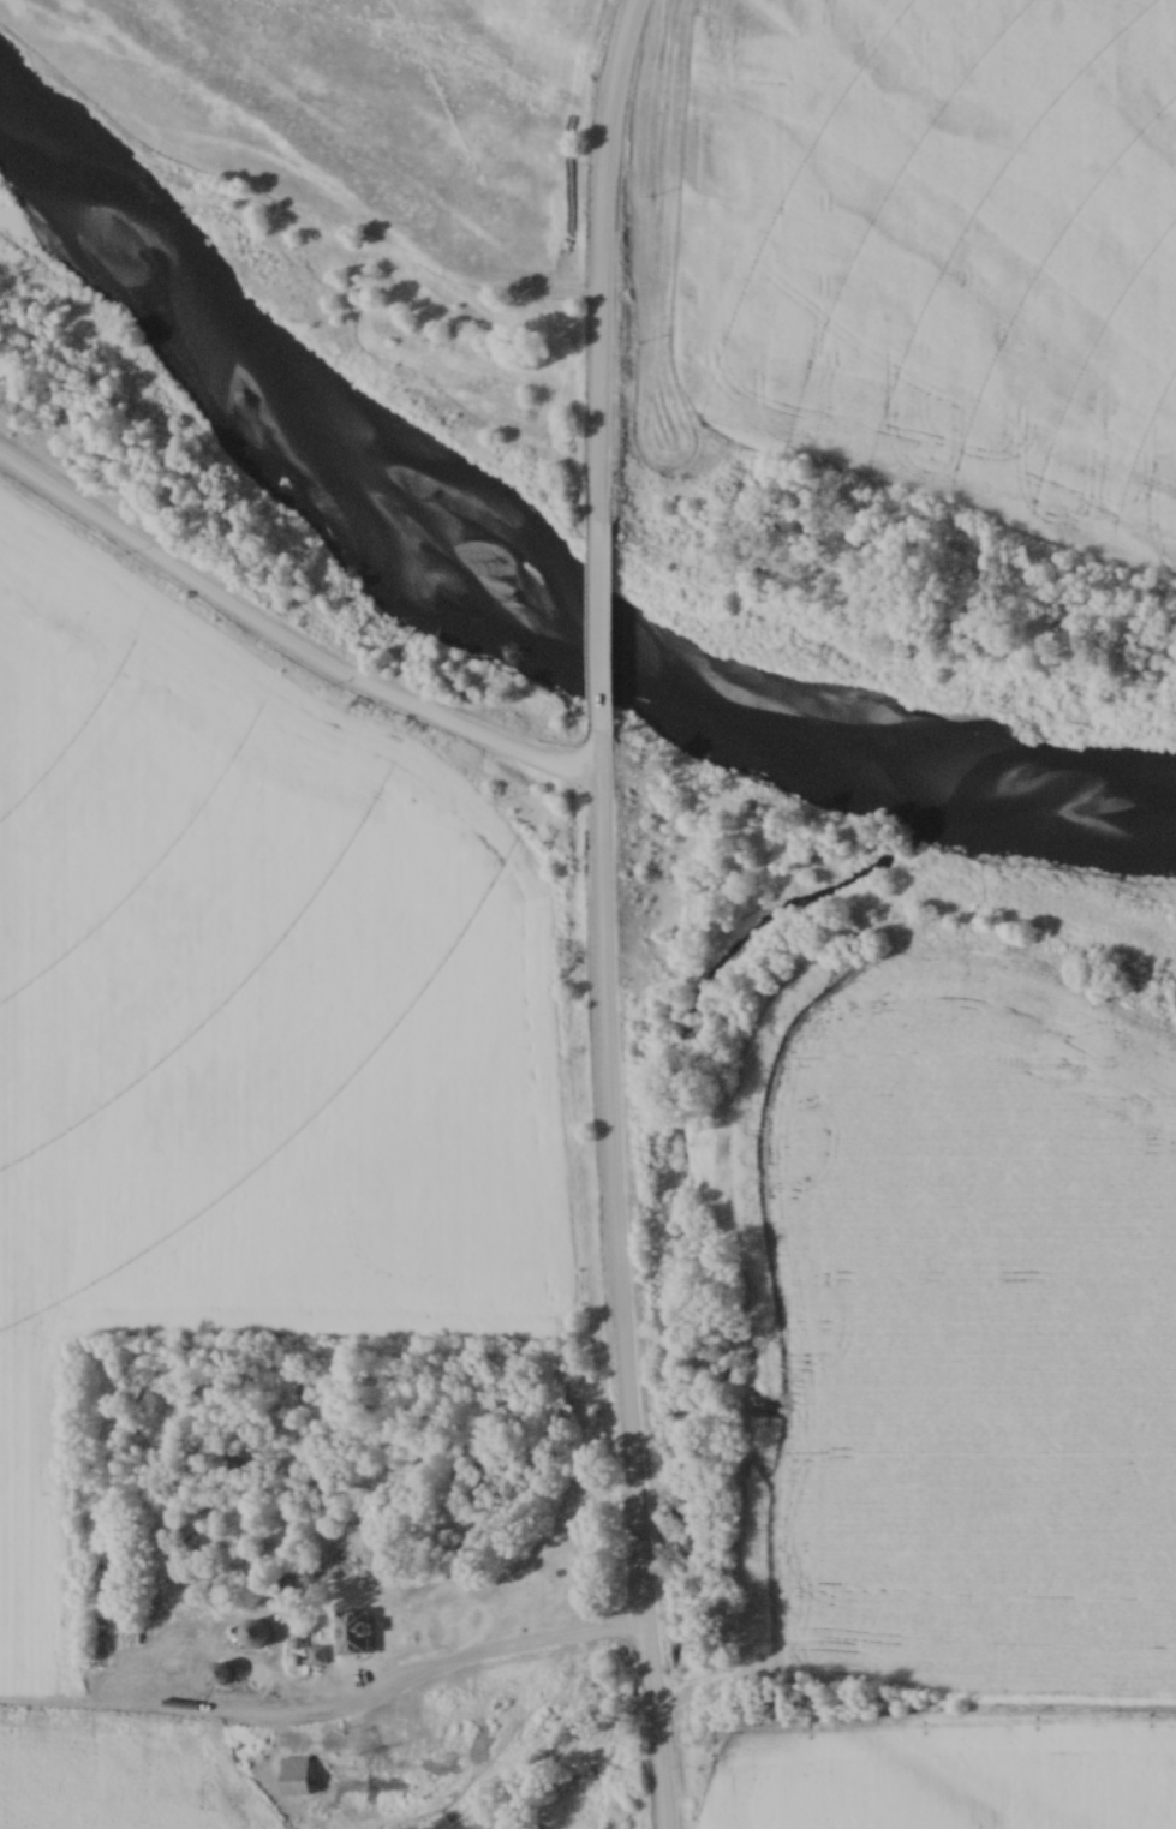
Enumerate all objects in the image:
road: (601, 258)
river: (515, 584)
road: (597, 628)
road: (283, 647)
road: (619, 1281)
building: (351, 1633)
building: (253, 1634)
building: (315, 1655)
road: (496, 1658)
building: (220, 1672)
building: (292, 1776)

